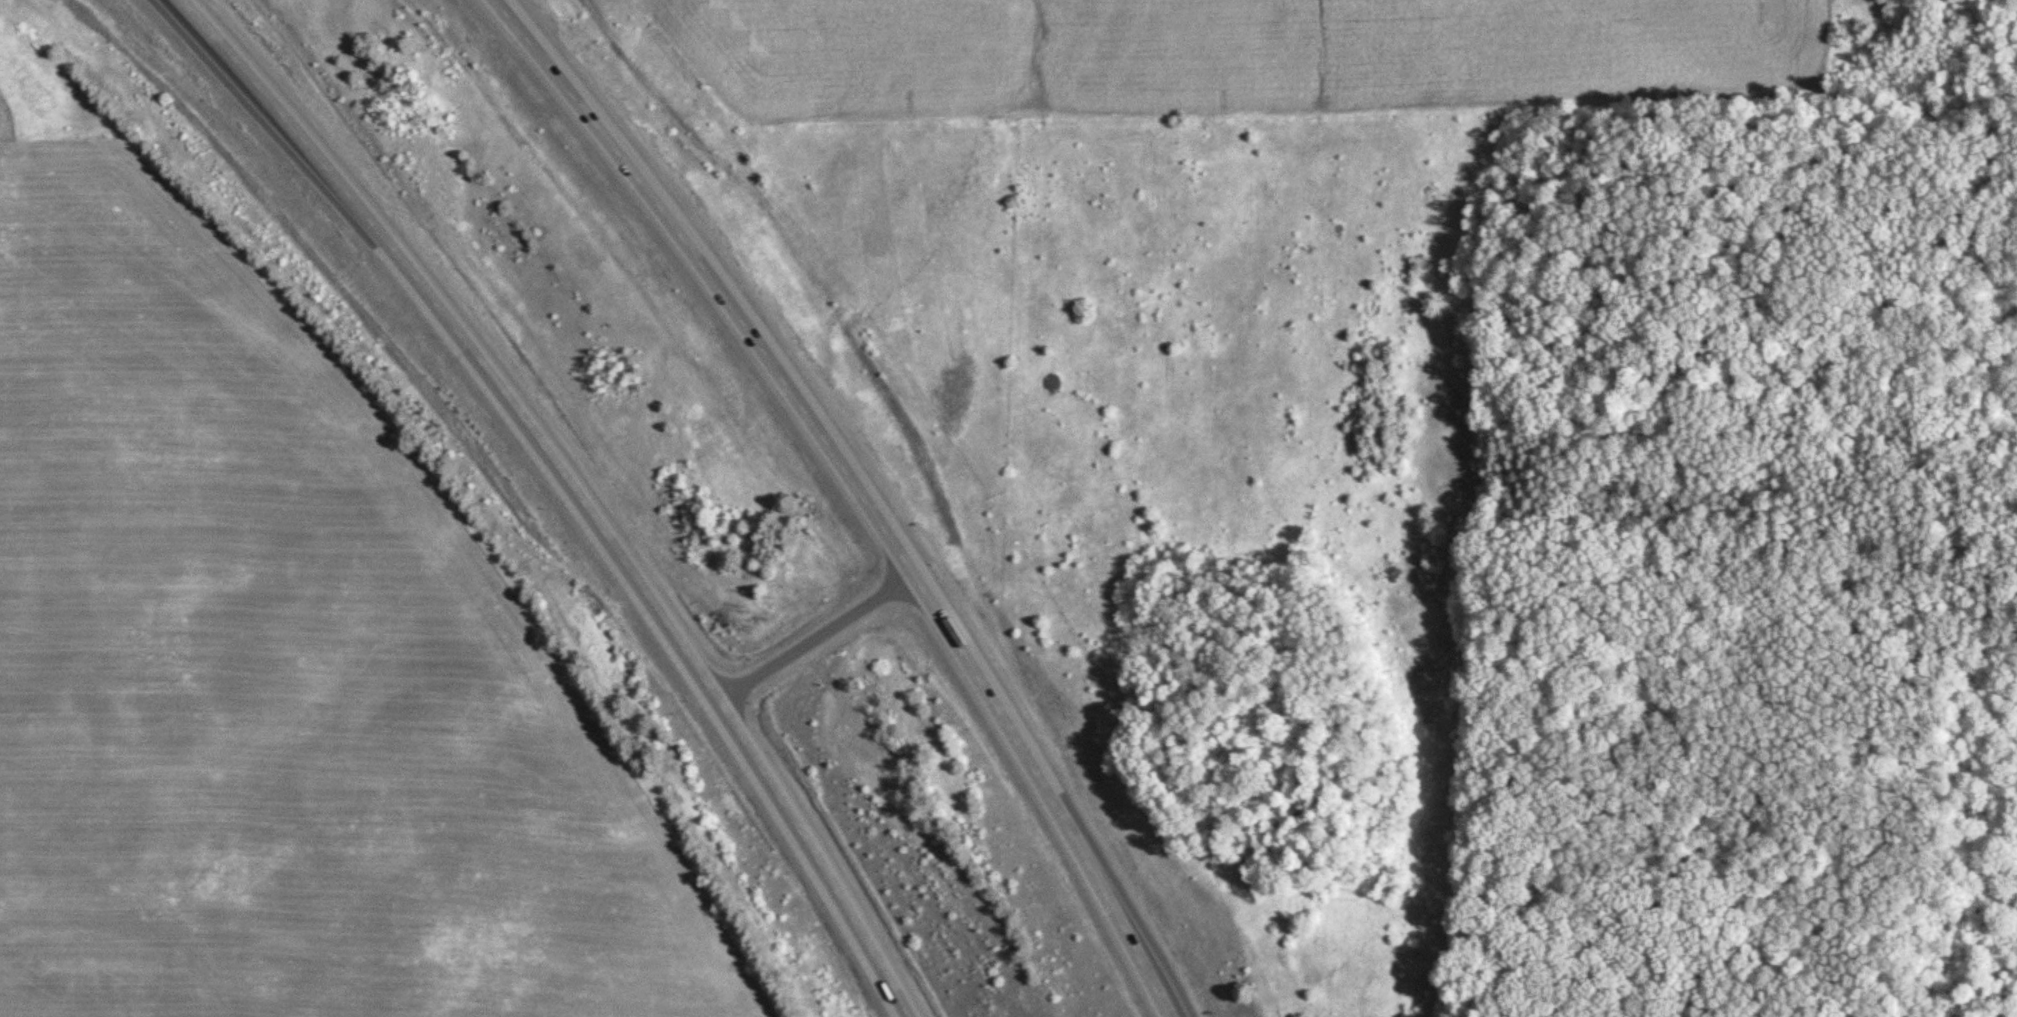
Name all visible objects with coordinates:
road: (573, 485)
road: (864, 489)
road: (822, 646)

